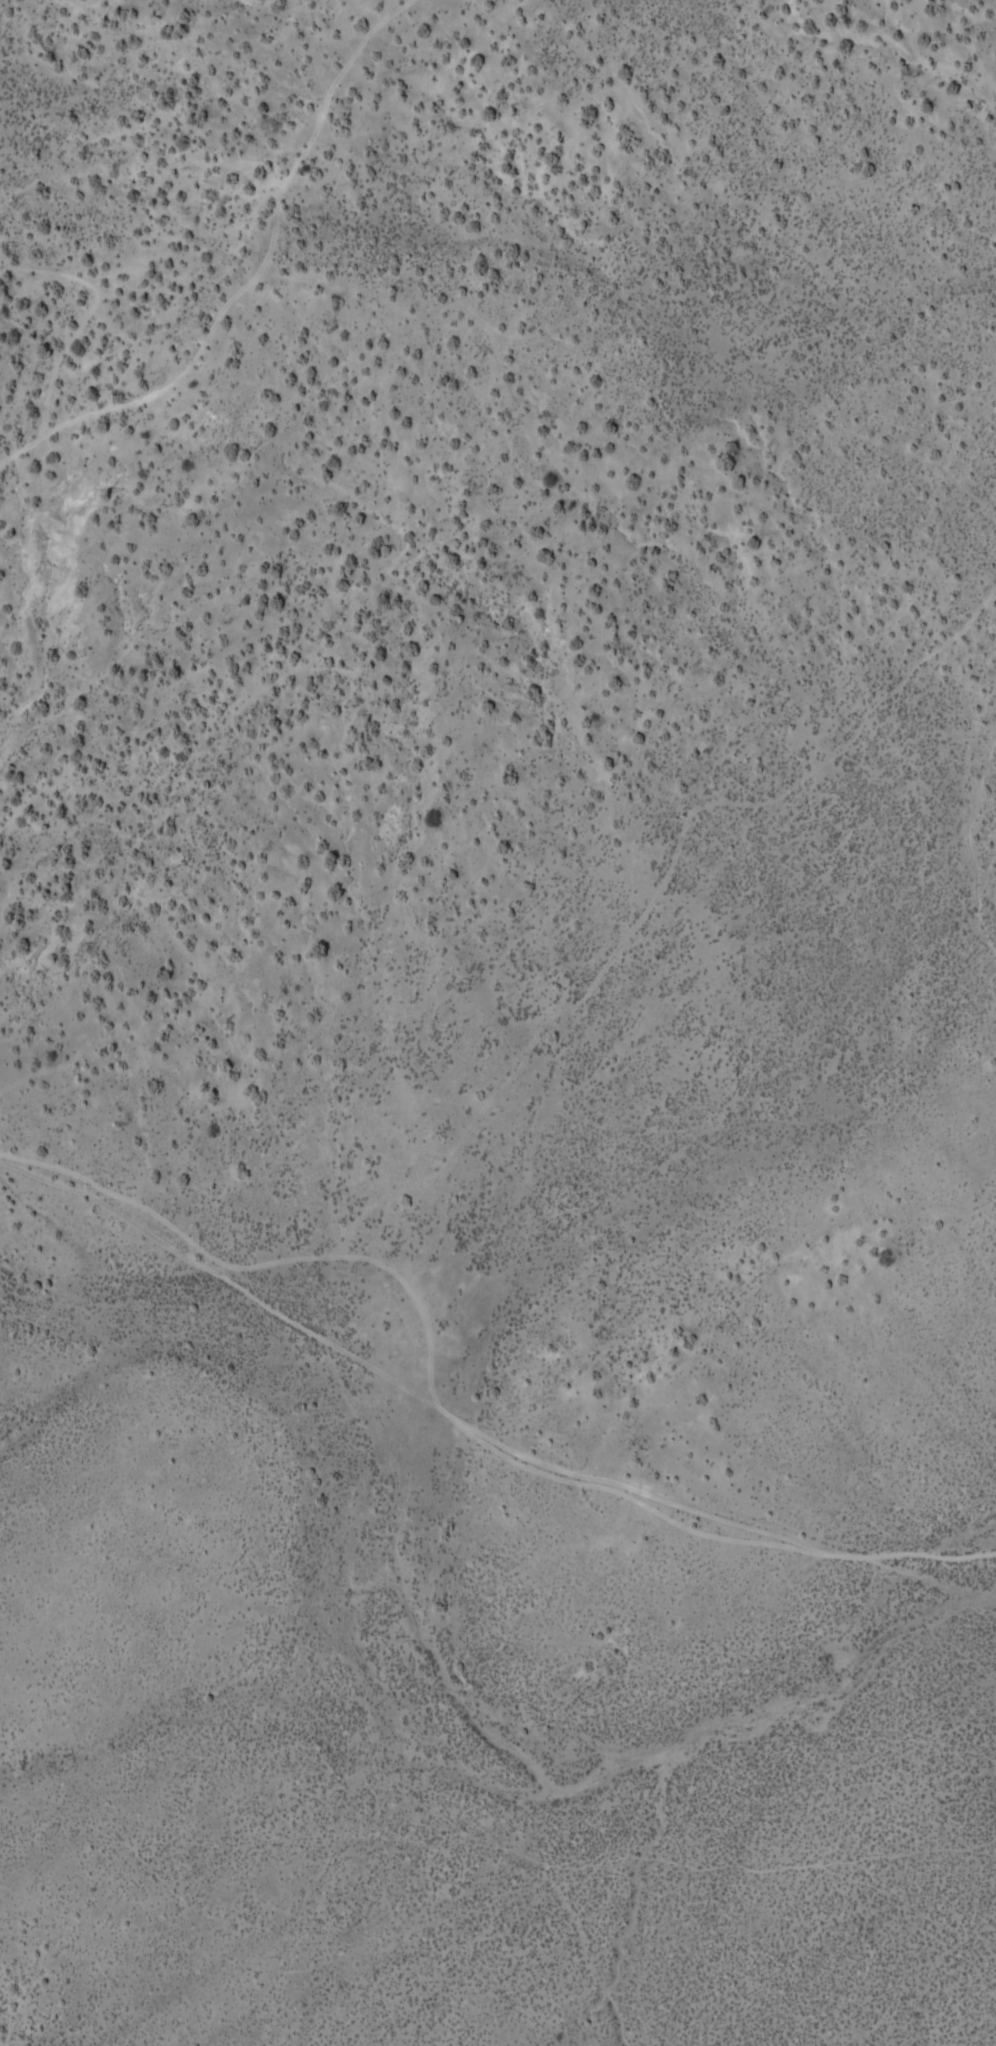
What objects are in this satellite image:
road: (407, 235)
road: (464, 403)
road: (120, 752)
road: (284, 833)
road: (485, 1389)

